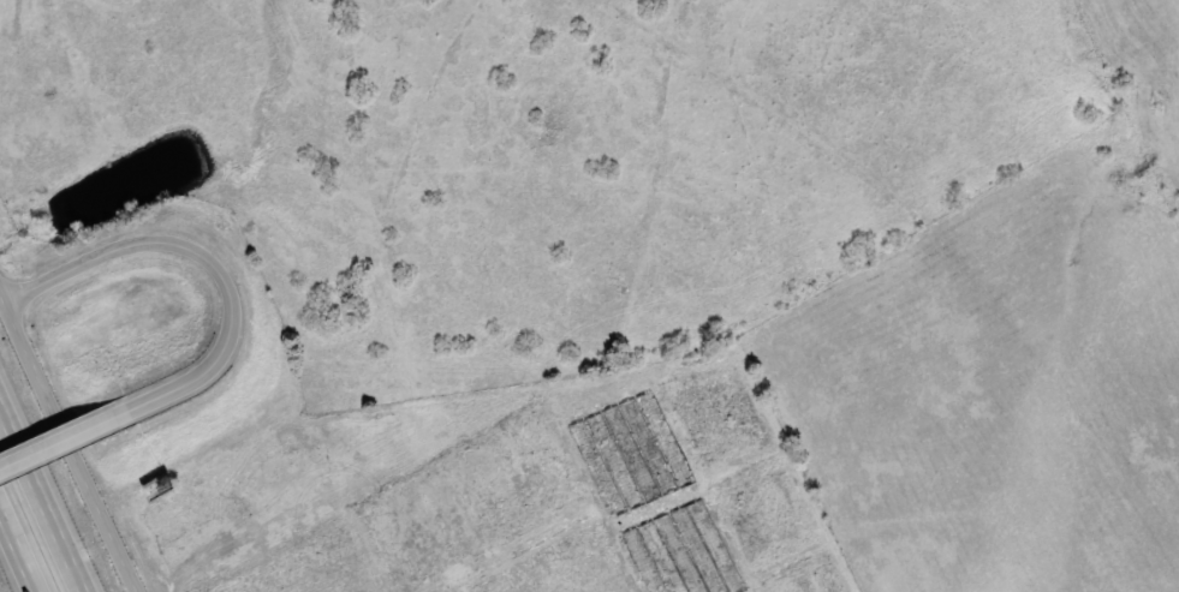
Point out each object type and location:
road: (207, 252)
road: (0, 293)
road: (66, 437)
building: (663, 438)
road: (69, 443)
building: (613, 460)
road: (43, 495)
building: (681, 552)
road: (14, 557)

